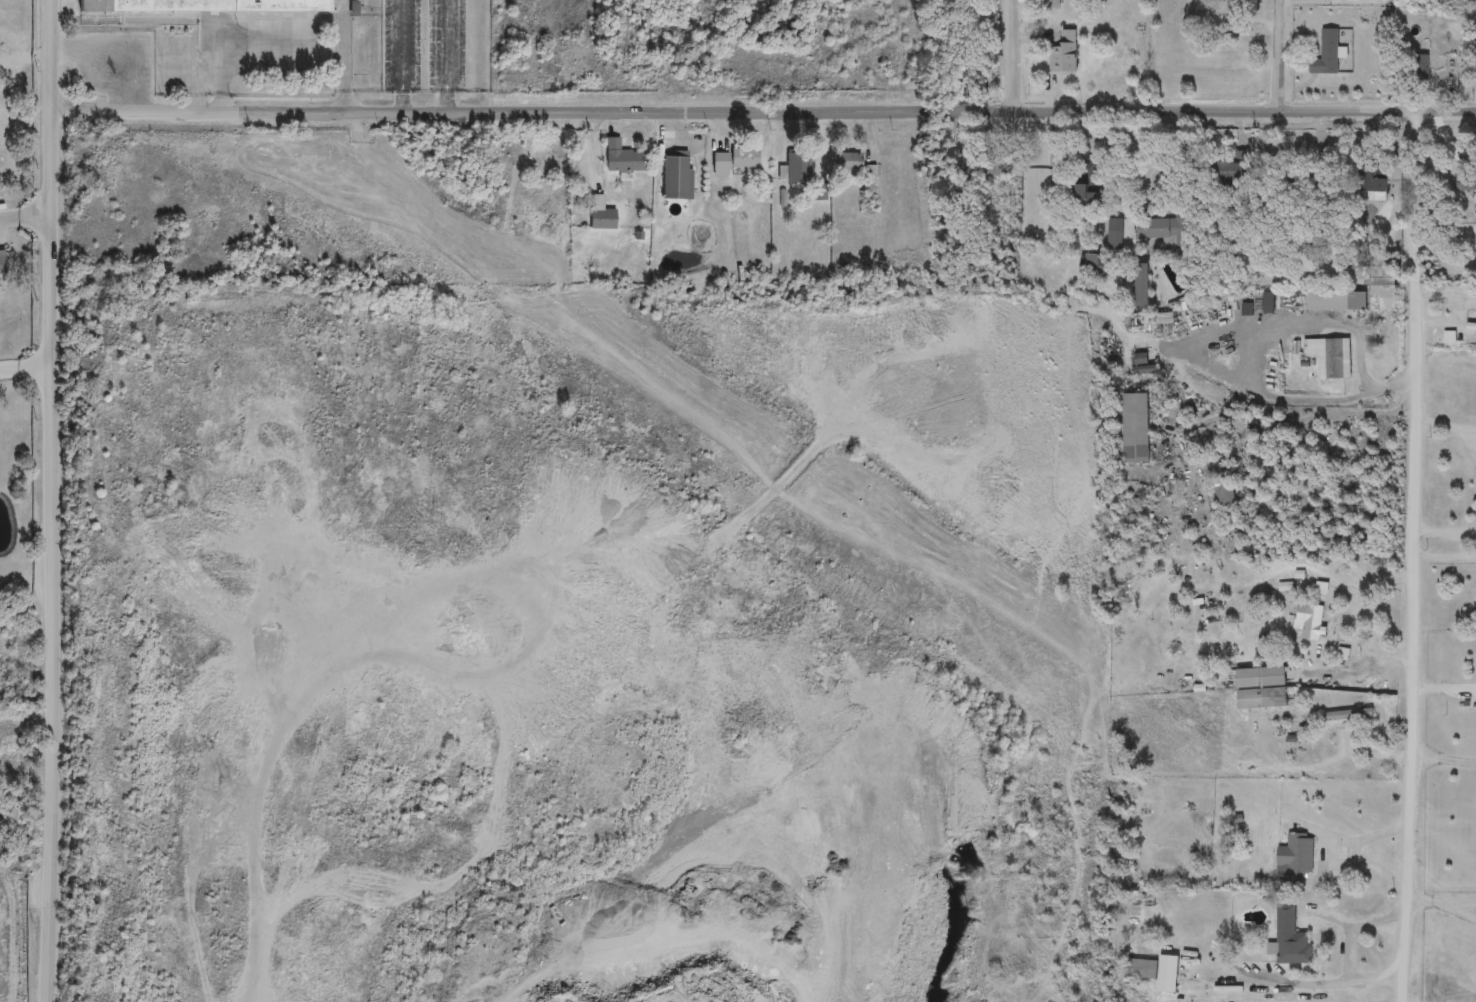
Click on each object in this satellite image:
building: (1050, 5)
building: (201, 6)
building: (1234, 16)
road: (222, 40)
road: (52, 54)
building: (1063, 54)
building: (1326, 54)
road: (345, 56)
road: (403, 56)
road: (449, 56)
road: (1009, 56)
road: (1276, 56)
road: (105, 59)
building: (1416, 68)
road: (763, 110)
road: (1149, 151)
building: (622, 157)
building: (734, 159)
building: (798, 159)
building: (849, 161)
building: (998, 166)
building: (1232, 173)
building: (870, 175)
building: (1371, 178)
road: (26, 215)
building: (603, 218)
building: (1161, 228)
building: (2, 262)
building: (1090, 264)
building: (1383, 282)
building: (1140, 284)
building: (1333, 301)
building: (1330, 357)
road: (1245, 362)
road: (26, 364)
road: (1239, 421)
road: (1444, 425)
building: (1135, 428)
building: (1223, 492)
road: (1445, 539)
road: (52, 555)
road: (1444, 555)
road: (1414, 557)
road: (1330, 577)
building: (1308, 621)
building: (1260, 688)
building: (1348, 716)
road: (1444, 757)
road: (1367, 838)
building: (1293, 861)
road: (1430, 901)
road: (1464, 902)
road: (1464, 909)
road: (1356, 924)
building: (1290, 938)
building: (1140, 969)
road: (1351, 978)

